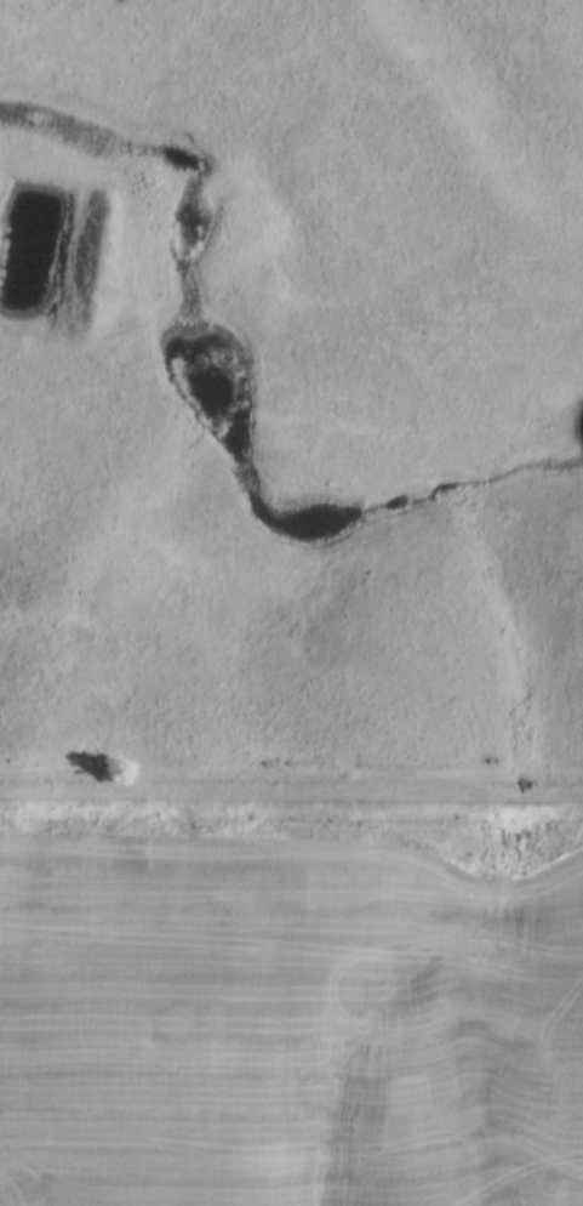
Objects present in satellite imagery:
road: (291, 766)

